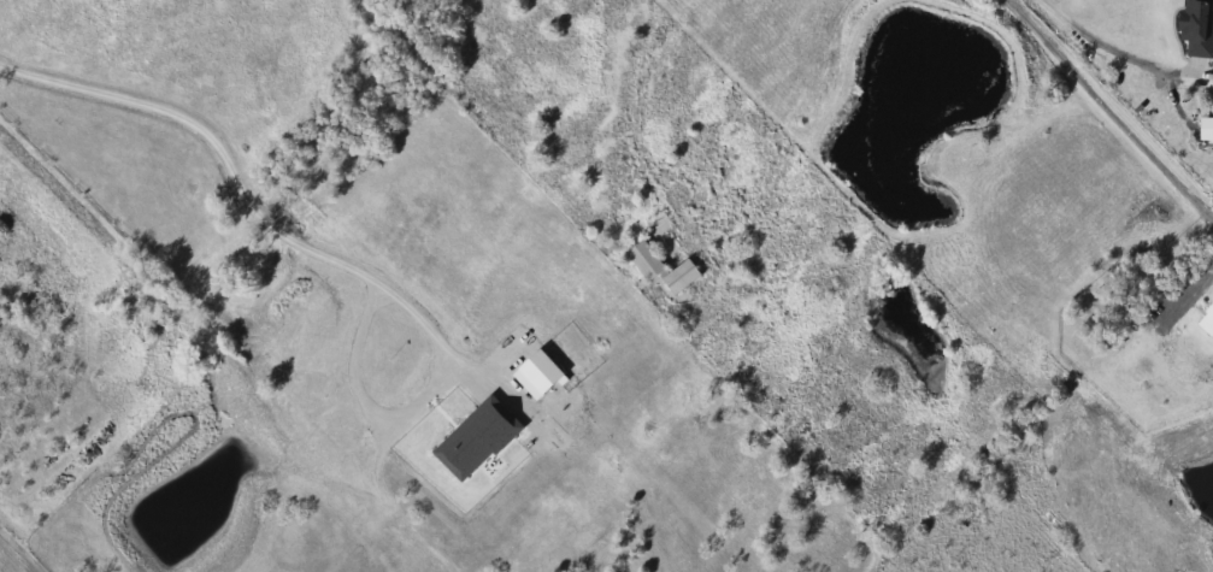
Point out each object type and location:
road: (1106, 41)
road: (637, 98)
road: (1107, 112)
road: (214, 137)
building: (655, 228)
building: (660, 270)
road: (408, 413)

